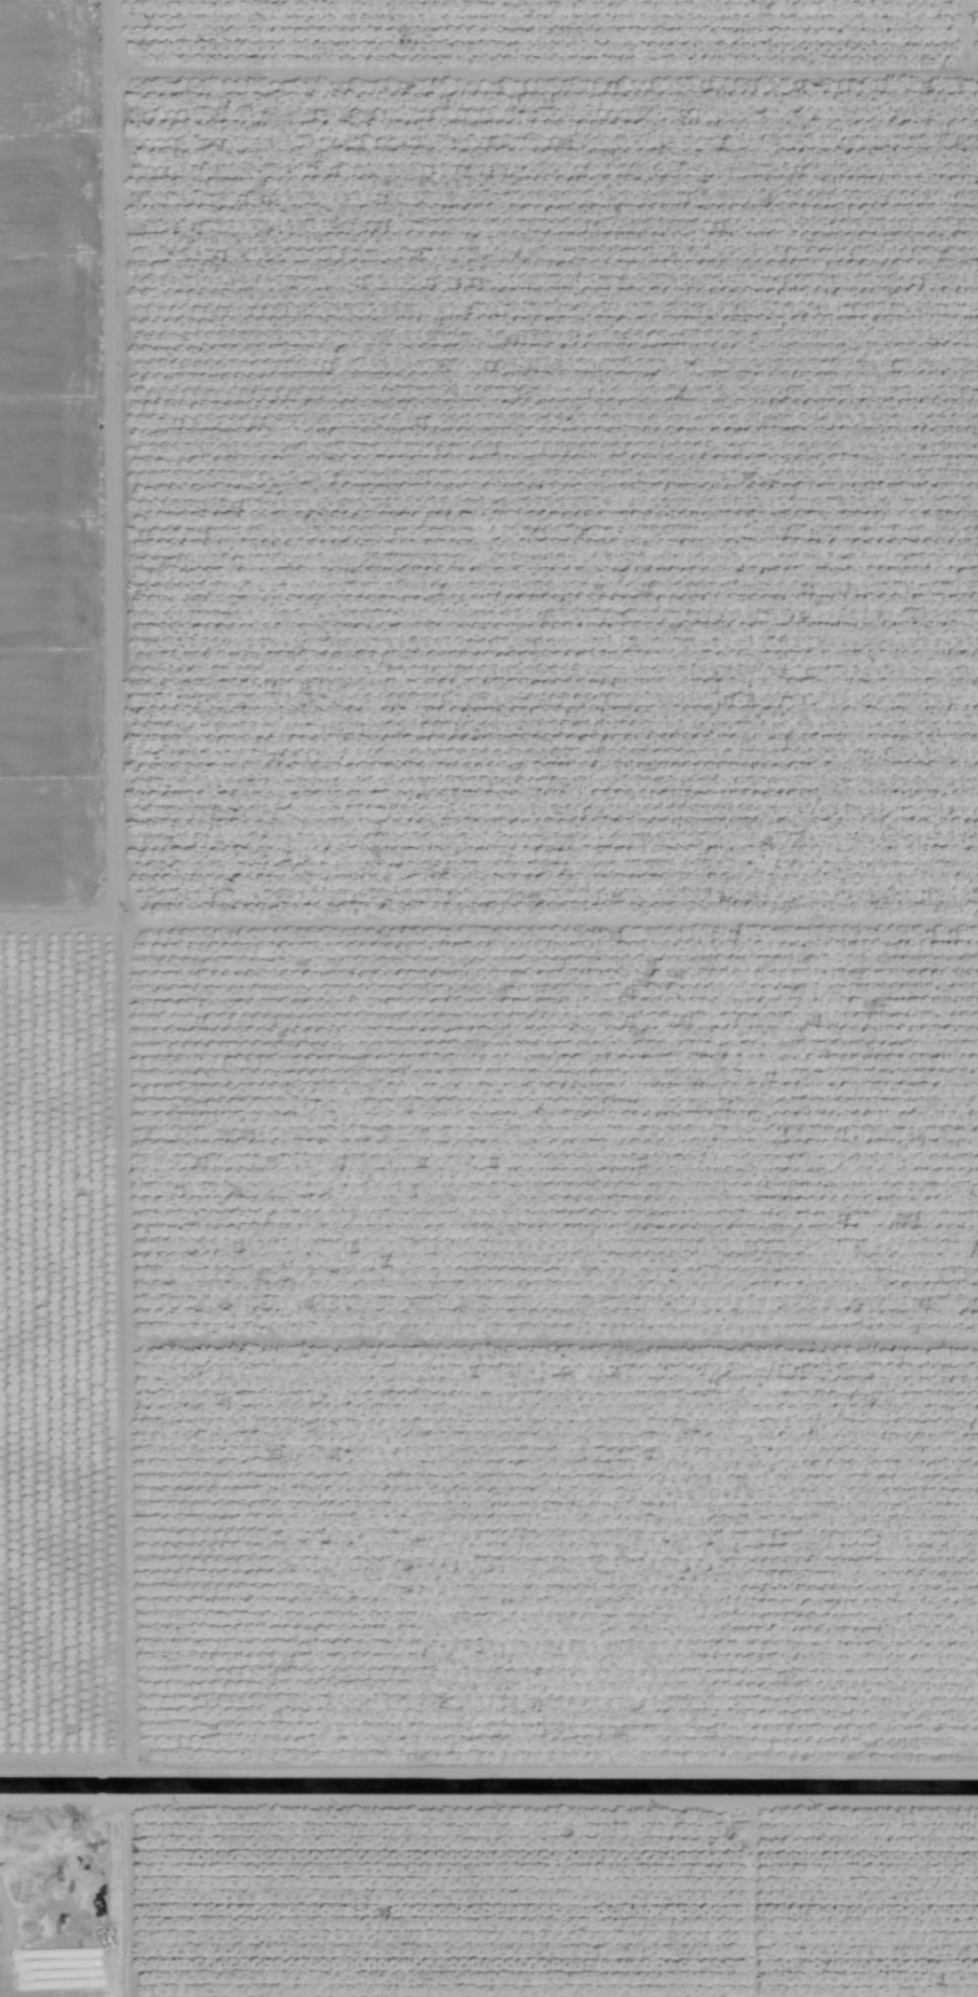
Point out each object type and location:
road: (965, 41)
road: (500, 72)
building: (44, 1967)

